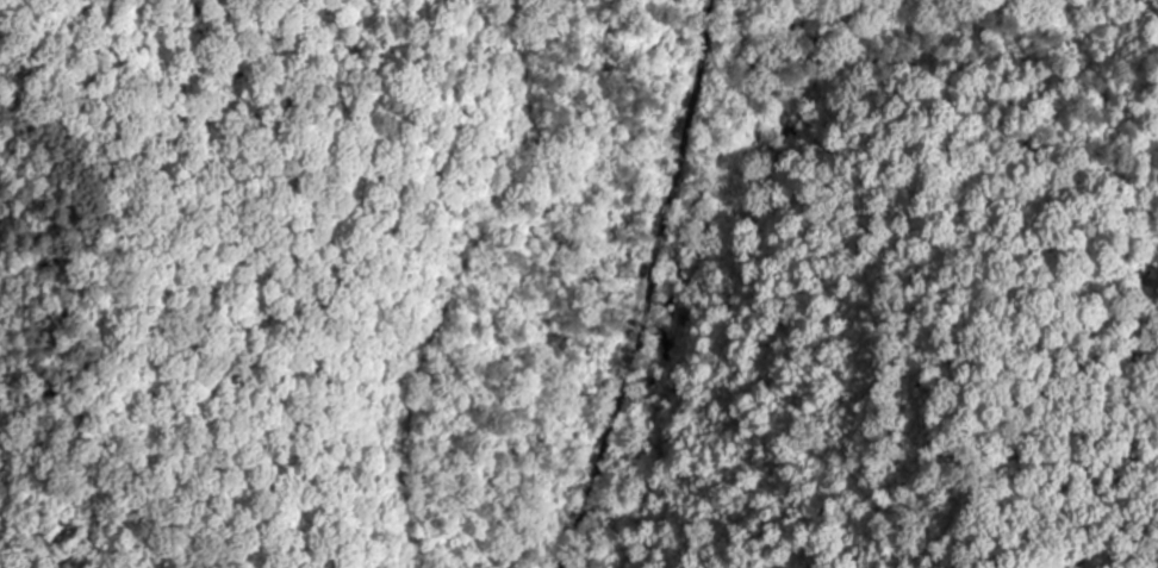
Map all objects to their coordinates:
road: (890, 52)
road: (579, 295)

